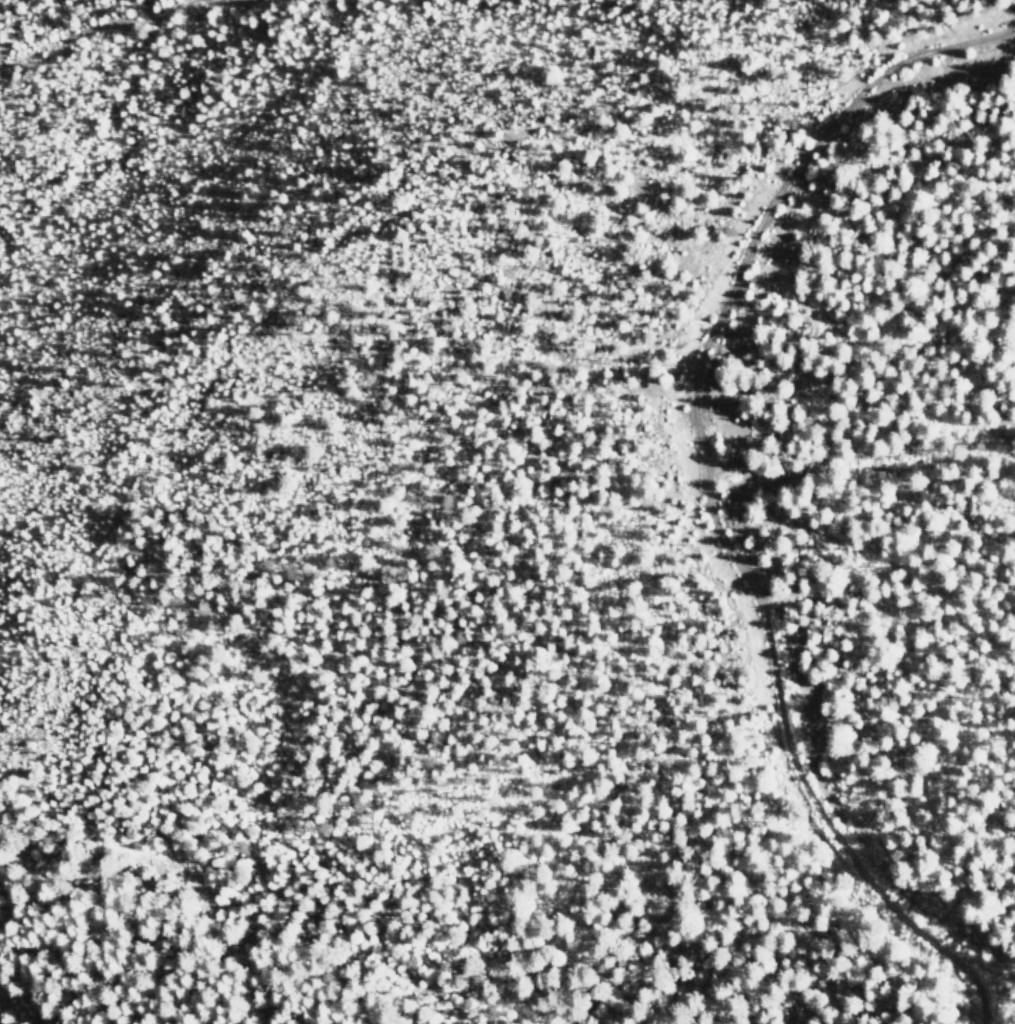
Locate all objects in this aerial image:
road: (697, 466)

